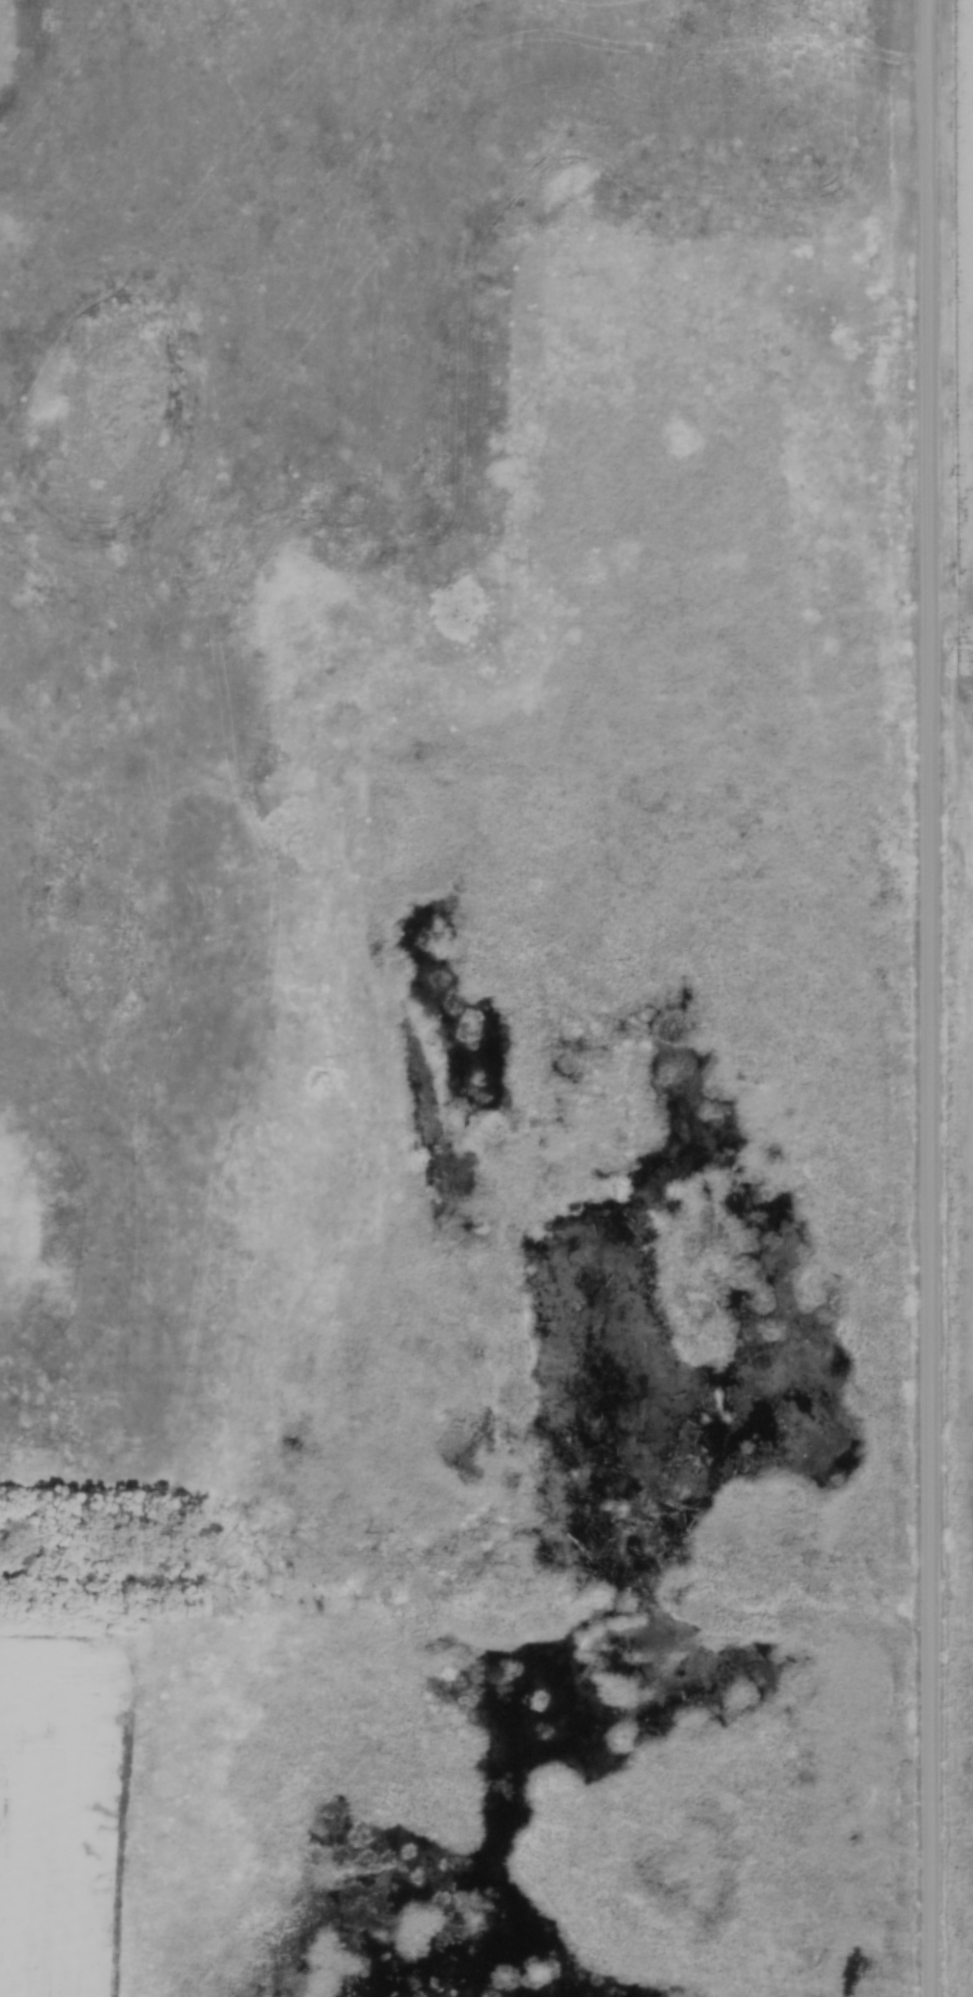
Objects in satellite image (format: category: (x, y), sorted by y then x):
road: (926, 998)

